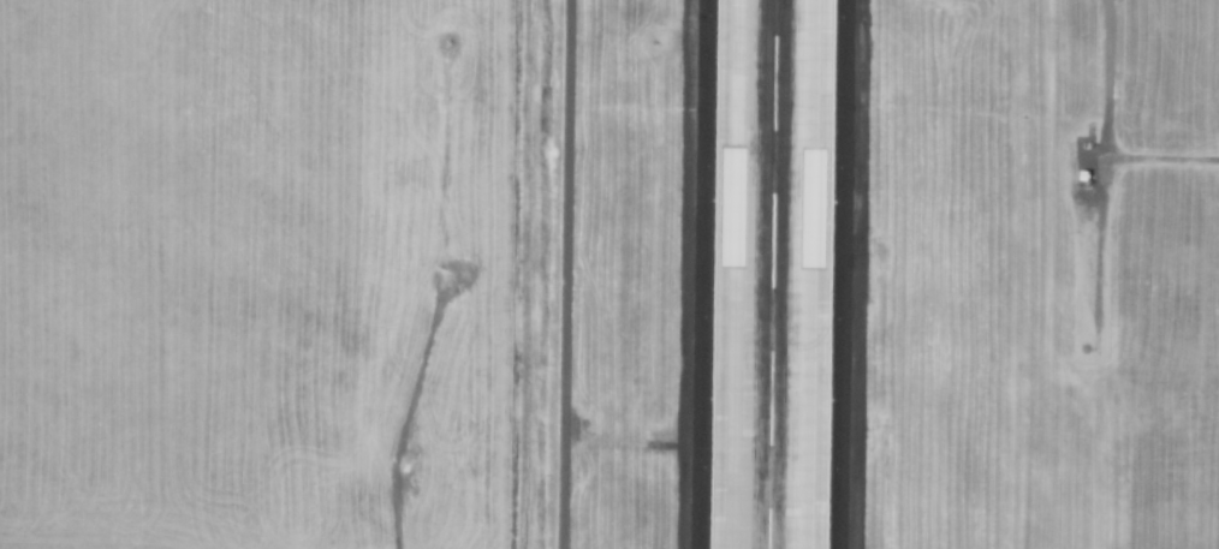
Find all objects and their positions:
airport: (706, 274)
airport runway: (772, 274)

